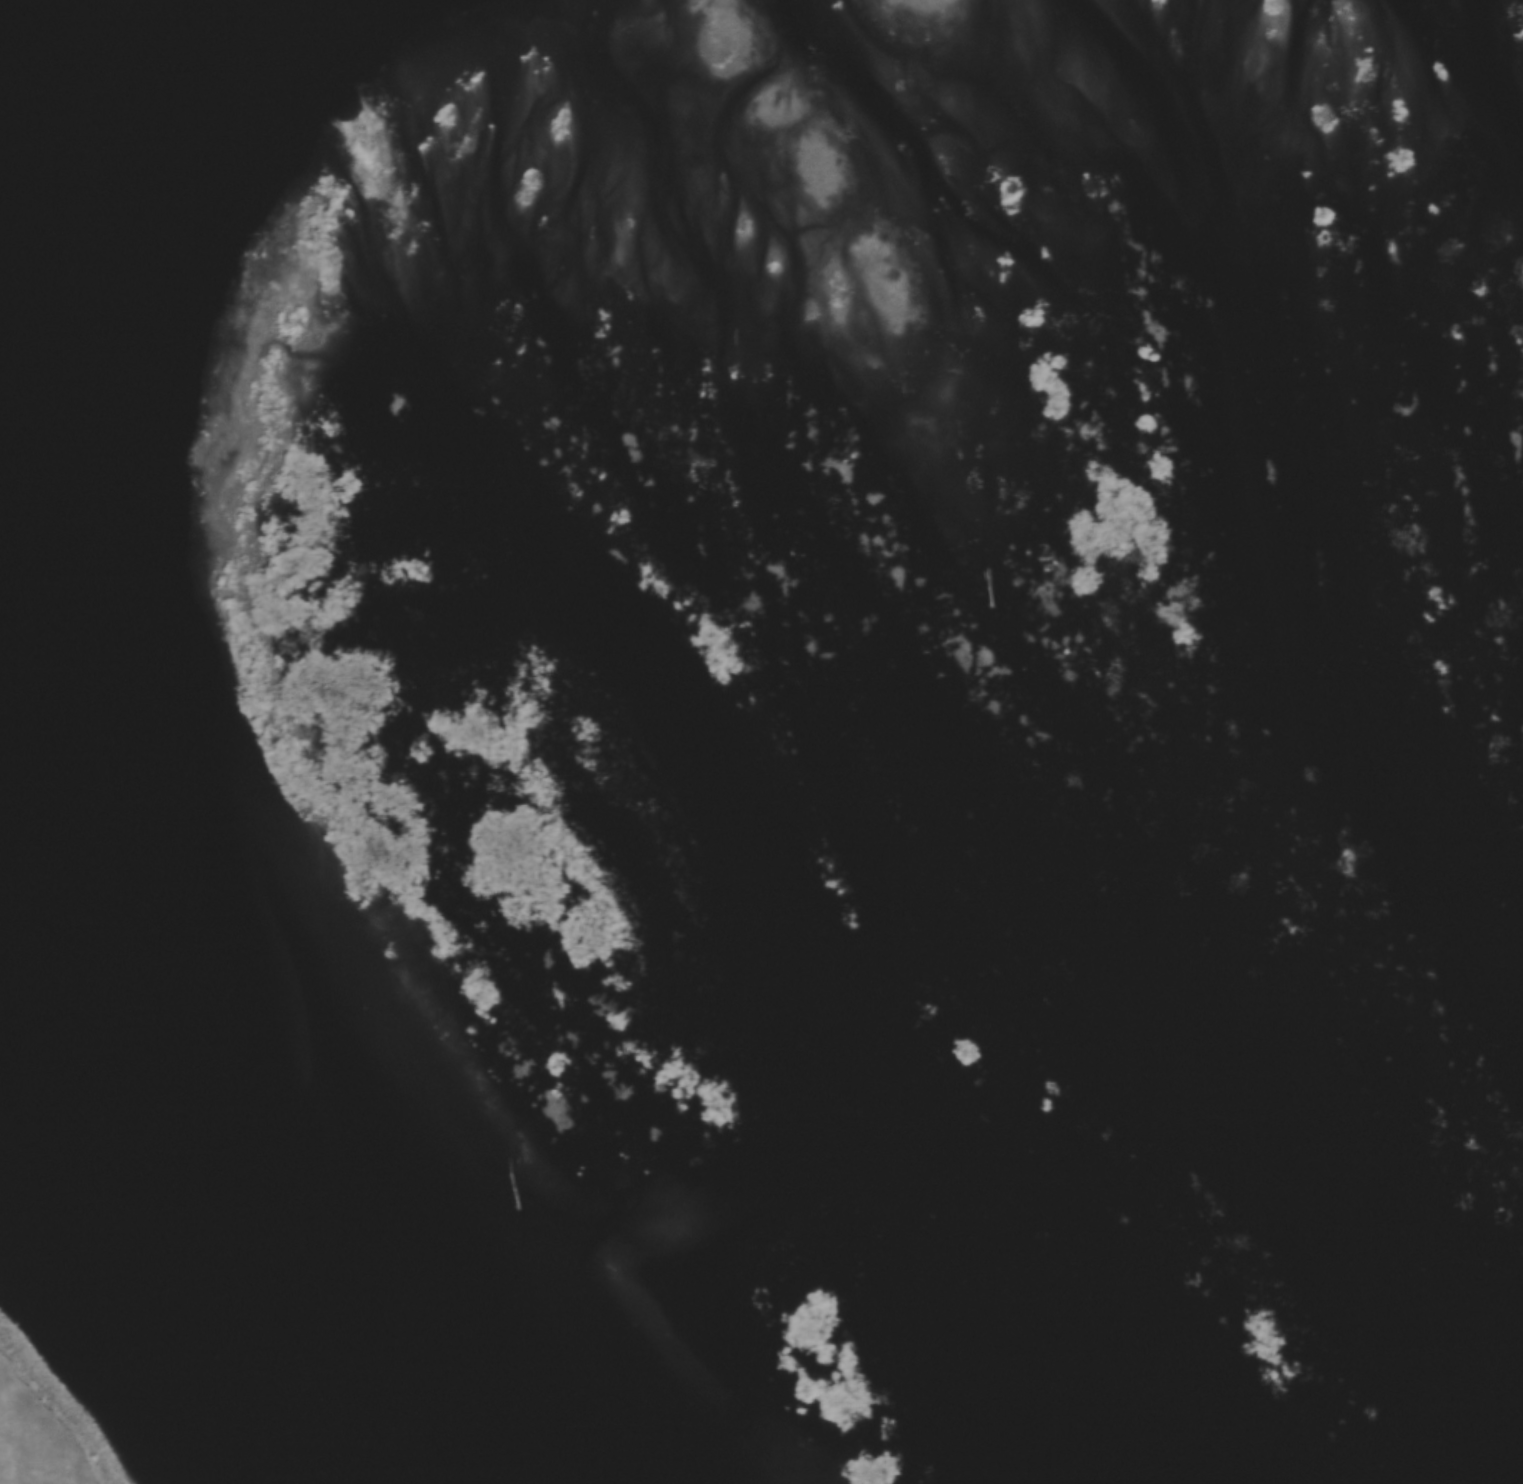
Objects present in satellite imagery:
river: (1345, 756)

